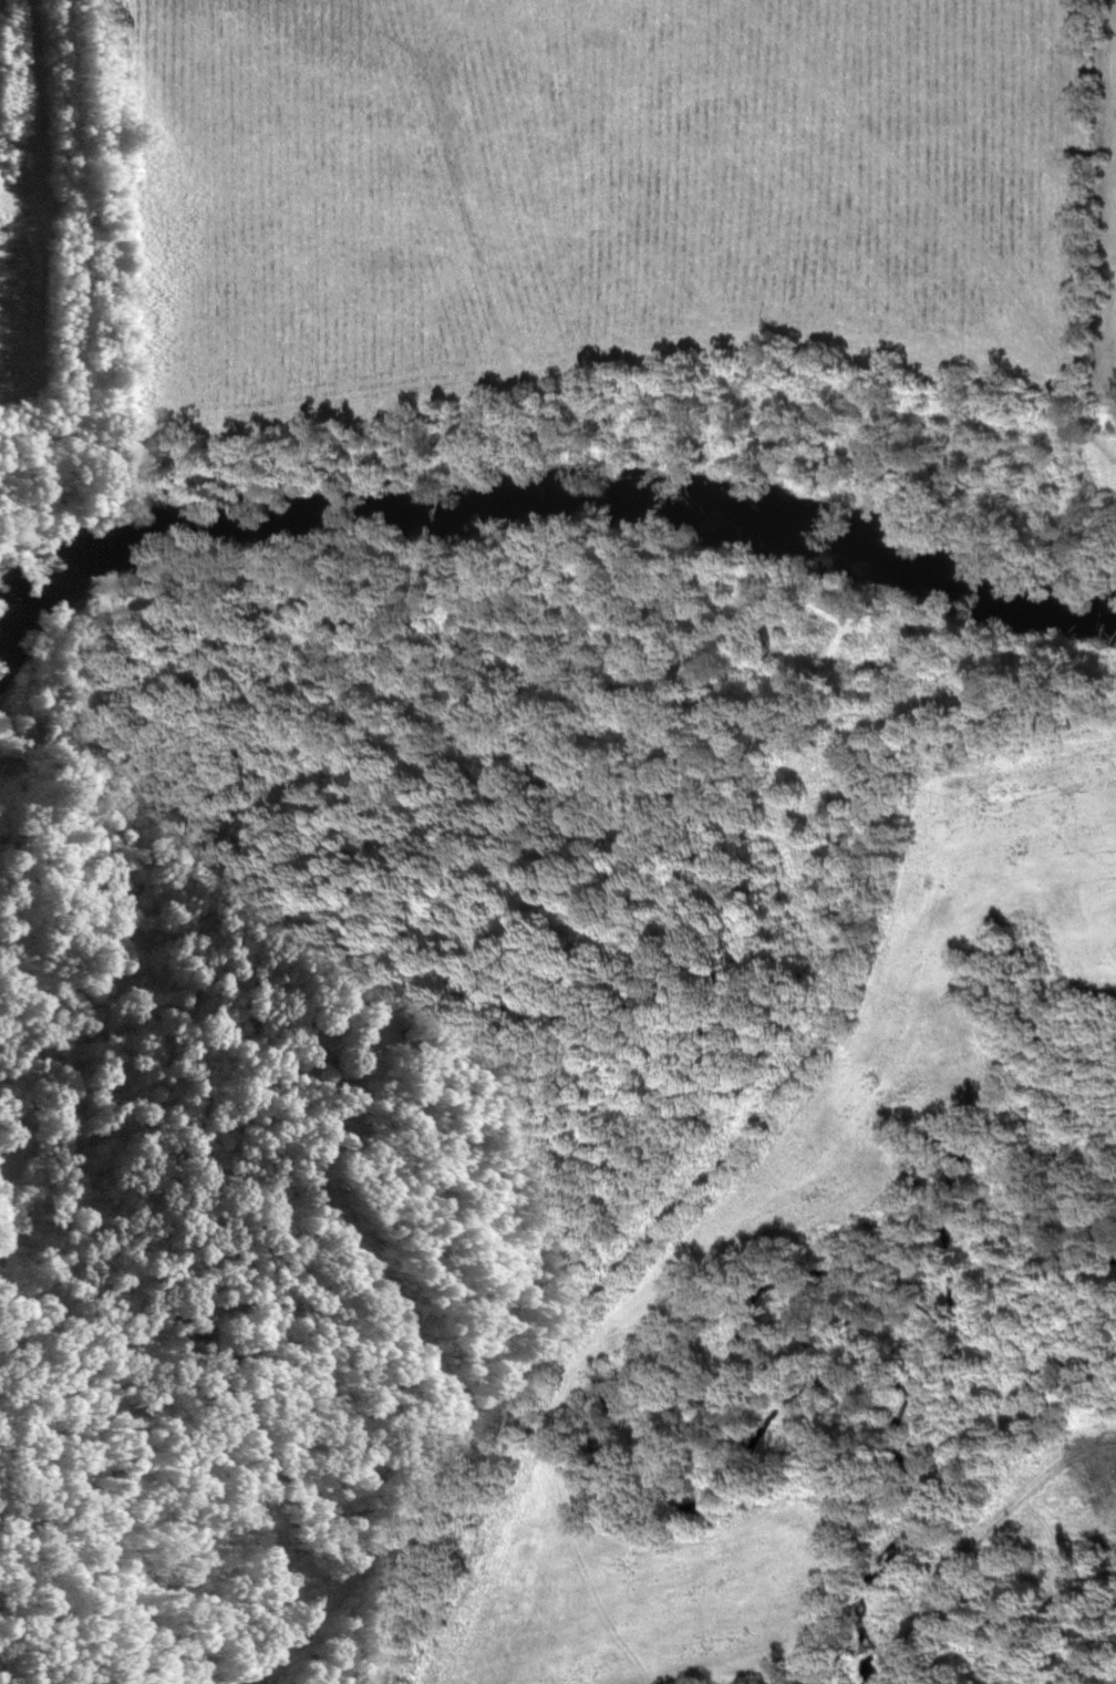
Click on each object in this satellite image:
river: (554, 495)

